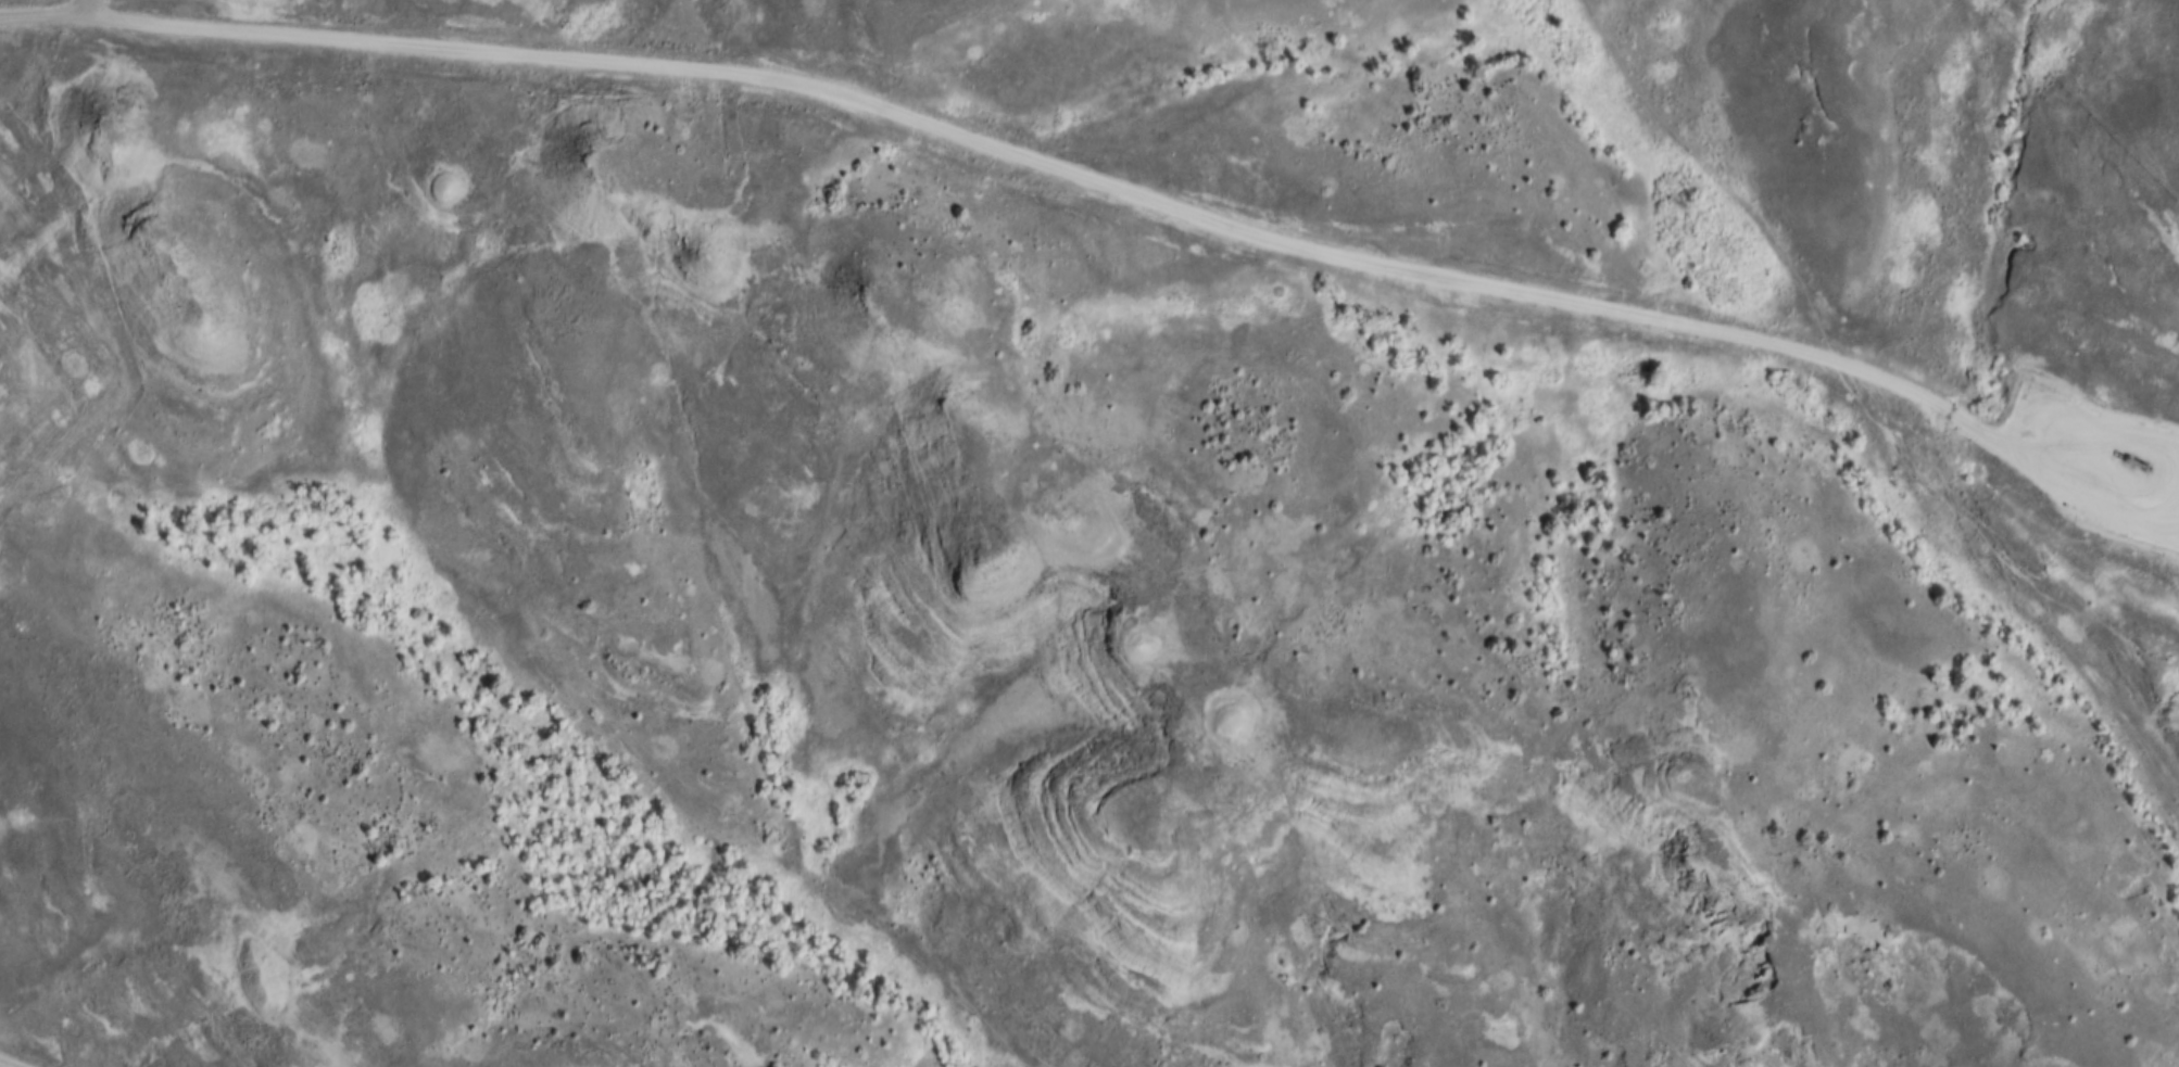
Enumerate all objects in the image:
road: (84, 9)
road: (41, 16)
road: (1093, 179)
road: (1723, 189)
road: (17, 437)
road: (1, 1066)

